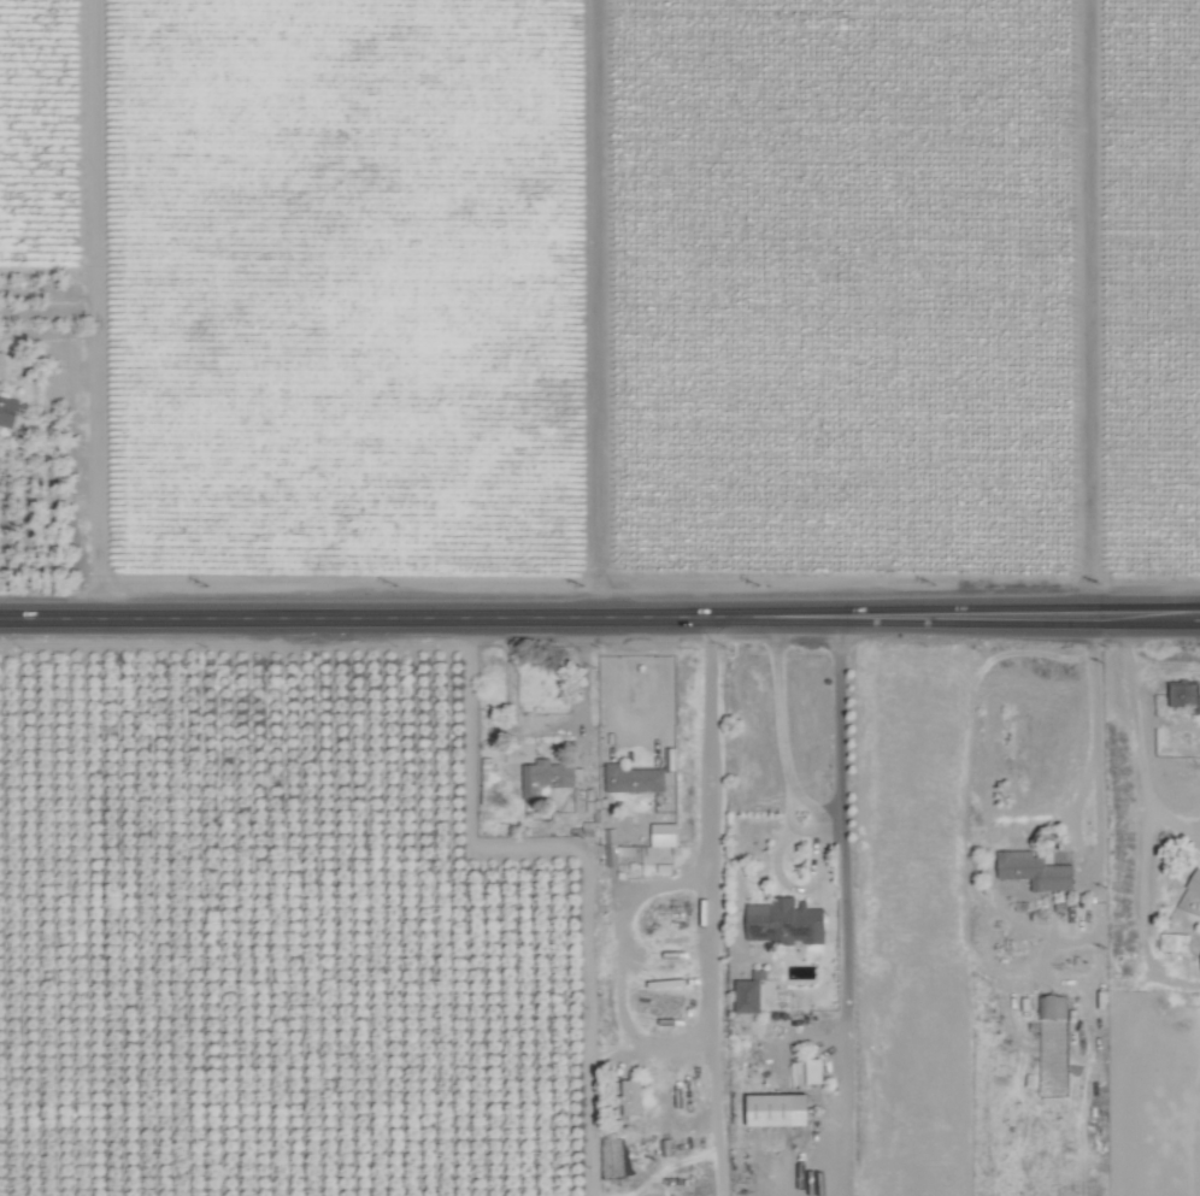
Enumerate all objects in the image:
building: (7, 410)
crop: (600, 597)
road: (384, 614)
road: (800, 614)
road: (1016, 614)
building: (1183, 695)
road: (1092, 749)
building: (488, 774)
building: (546, 776)
building: (633, 778)
building: (663, 833)
building: (1034, 870)
building: (1194, 882)
crop: (749, 885)
road: (793, 888)
building: (784, 920)
building: (1173, 941)
road: (700, 984)
building: (747, 995)
building: (1049, 1006)
building: (807, 1071)
building: (630, 1096)
building: (777, 1109)

